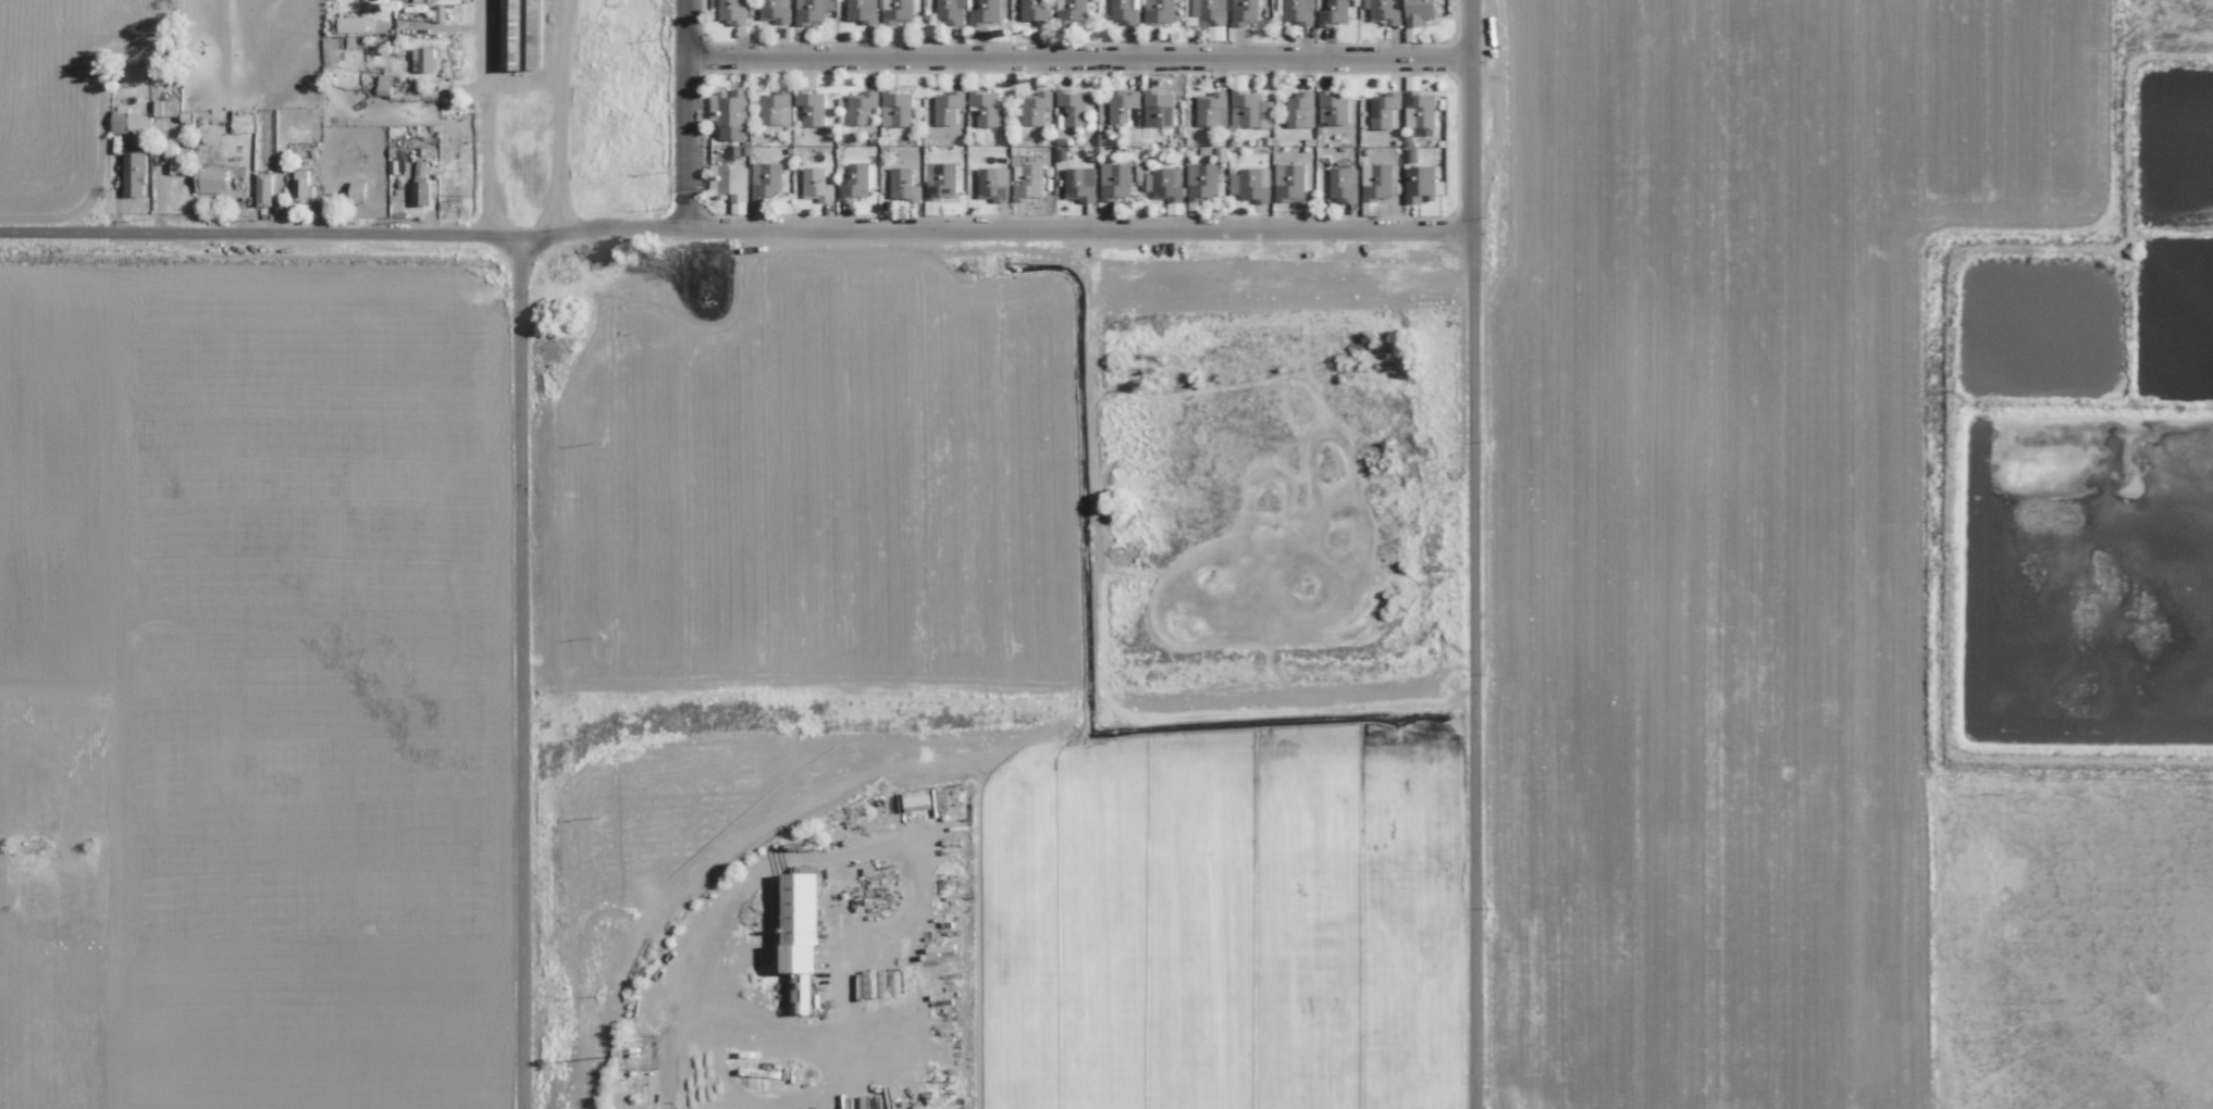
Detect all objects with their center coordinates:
building: (419, 0)
building: (812, 10)
building: (861, 10)
building: (949, 10)
building: (1207, 10)
building: (732, 11)
building: (774, 11)
building: (895, 11)
building: (985, 11)
building: (1034, 11)
building: (1071, 11)
building: (1123, 11)
building: (1159, 11)
building: (1298, 11)
building: (1385, 11)
building: (1245, 12)
building: (1334, 12)
building: (1419, 12)
building: (349, 24)
building: (330, 52)
building: (423, 59)
road: (1081, 59)
building: (861, 104)
building: (948, 104)
building: (811, 105)
building: (985, 105)
building: (1073, 105)
building: (1332, 105)
building: (164, 107)
building: (775, 107)
building: (897, 107)
building: (1035, 107)
building: (1211, 108)
building: (1249, 108)
building: (1384, 108)
building: (1299, 109)
building: (1421, 110)
building: (729, 112)
building: (1141, 112)
road: (691, 114)
road: (492, 119)
building: (131, 122)
building: (134, 173)
building: (210, 179)
building: (766, 179)
building: (941, 179)
building: (1202, 179)
building: (856, 180)
building: (1115, 180)
building: (1289, 180)
building: (1030, 182)
building: (1079, 182)
building: (1377, 182)
building: (992, 183)
building: (1163, 183)
building: (1250, 183)
building: (1344, 183)
building: (300, 184)
building: (730, 184)
building: (816, 184)
building: (903, 184)
building: (263, 189)
building: (357, 191)
building: (420, 192)
road: (737, 229)
road: (1474, 554)
road: (528, 670)

